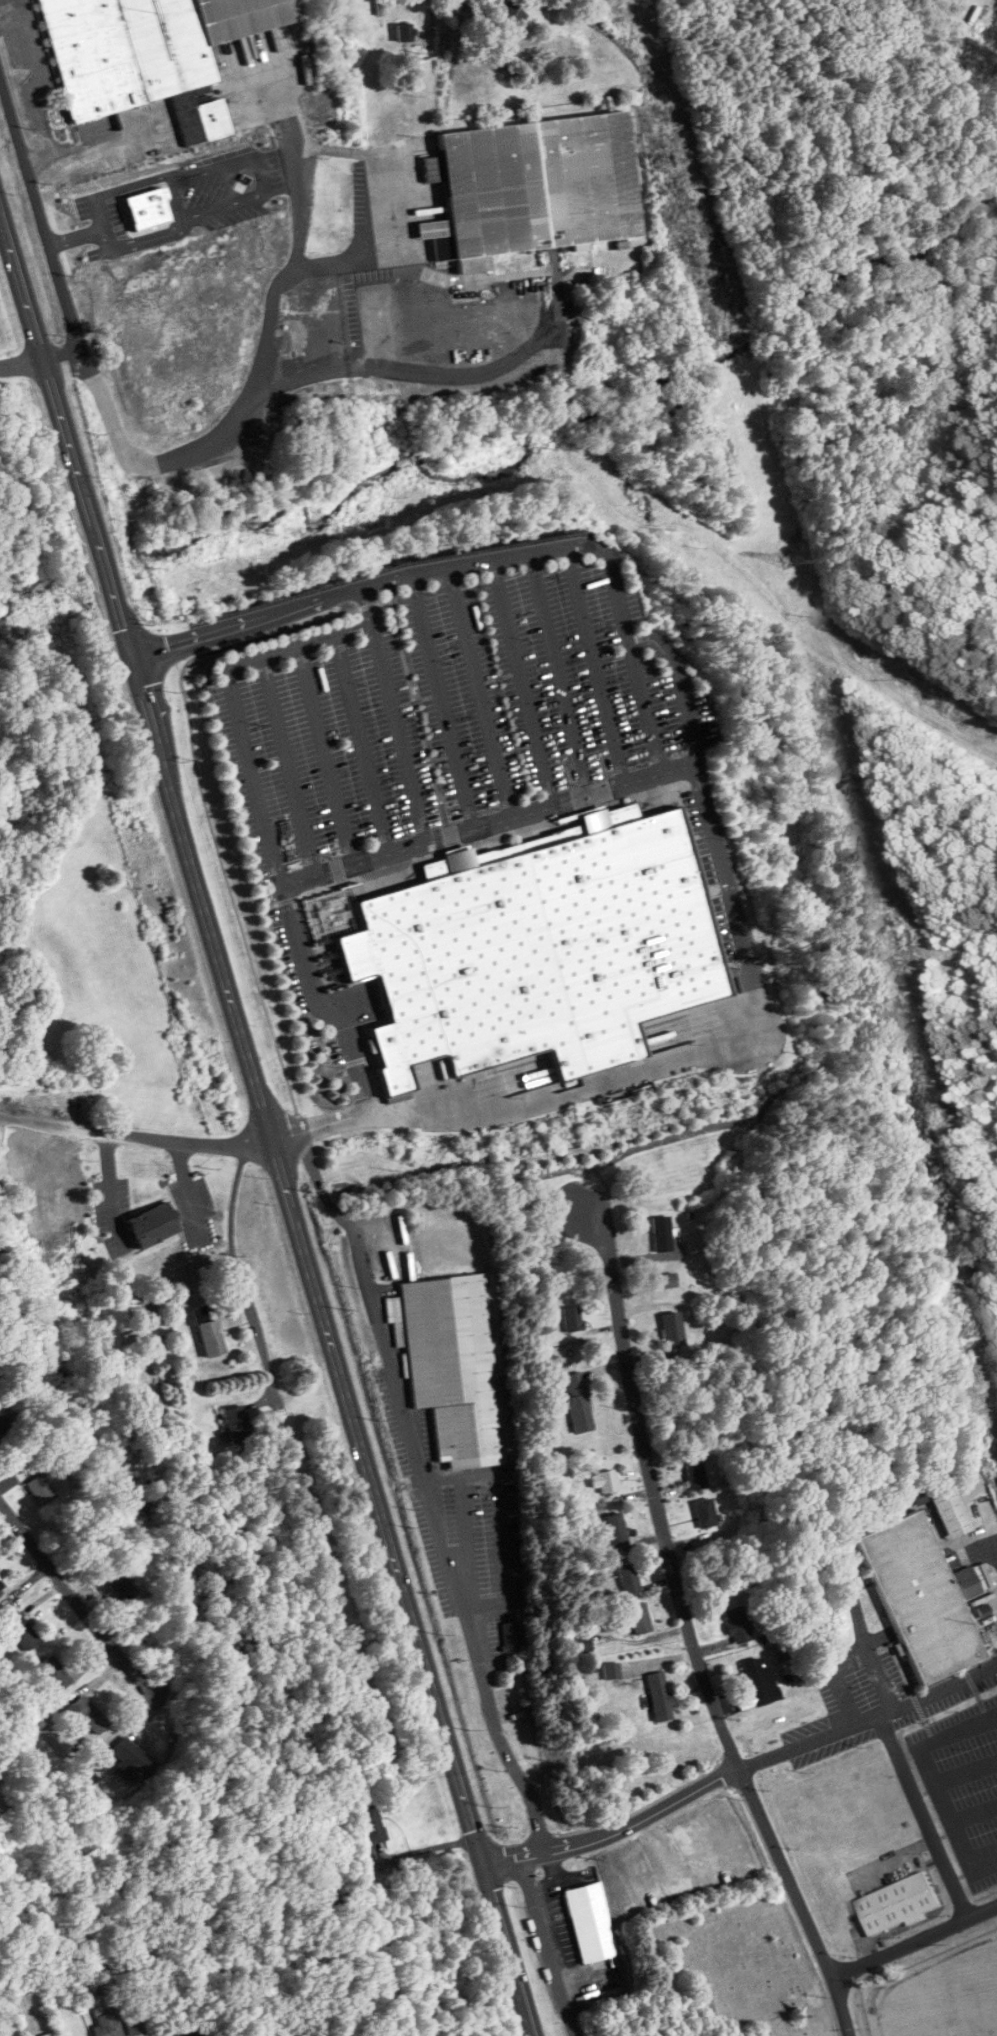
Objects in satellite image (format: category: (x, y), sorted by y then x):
building: (380, 7)
building: (510, 14)
road: (430, 20)
road: (11, 24)
building: (405, 32)
road: (36, 88)
building: (398, 115)
power tower: (671, 161)
road: (375, 162)
road: (260, 173)
building: (537, 185)
building: (166, 187)
road: (176, 191)
road: (45, 233)
road: (76, 235)
road: (559, 292)
road: (413, 334)
road: (21, 359)
road: (256, 380)
power tower: (791, 561)
road: (366, 586)
traffic signals: (128, 654)
road: (437, 701)
parking lot: (449, 715)
road: (359, 741)
road: (320, 754)
road: (288, 764)
road: (673, 764)
road: (419, 803)
road: (260, 813)
road: (733, 898)
power tower: (891, 905)
building: (538, 951)
road: (518, 1102)
road: (266, 1127)
road: (135, 1136)
road: (187, 1187)
road: (109, 1198)
building: (154, 1225)
building: (662, 1233)
road: (239, 1278)
building: (667, 1280)
building: (572, 1318)
building: (673, 1330)
power tower: (972, 1331)
building: (208, 1332)
building: (457, 1365)
building: (578, 1402)
building: (3, 1422)
building: (238, 1426)
building: (696, 1472)
road: (496, 1477)
building: (604, 1481)
building: (39, 1489)
road: (426, 1492)
building: (706, 1511)
building: (951, 1512)
road: (992, 1520)
building: (616, 1530)
road: (731, 1550)
building: (629, 1579)
building: (119, 1589)
building: (1, 1591)
building: (920, 1597)
road: (685, 1616)
road: (96, 1618)
building: (640, 1618)
building: (738, 1624)
building: (22, 1631)
building: (513, 1637)
road: (865, 1639)
building: (611, 1670)
building: (53, 1674)
road: (837, 1675)
building: (760, 1683)
building: (660, 1696)
building: (86, 1715)
road: (868, 1717)
road: (957, 1728)
building: (133, 1757)
road: (966, 1770)
road: (974, 1812)
road: (925, 1814)
building: (371, 1824)
road: (616, 1832)
road: (984, 1866)
building: (901, 1905)
building: (591, 1923)
road: (914, 1942)
road: (546, 1948)
park: (736, 1962)
building: (135, 2021)
building: (107, 2025)
road: (200, 2032)
building: (47, 2035)

